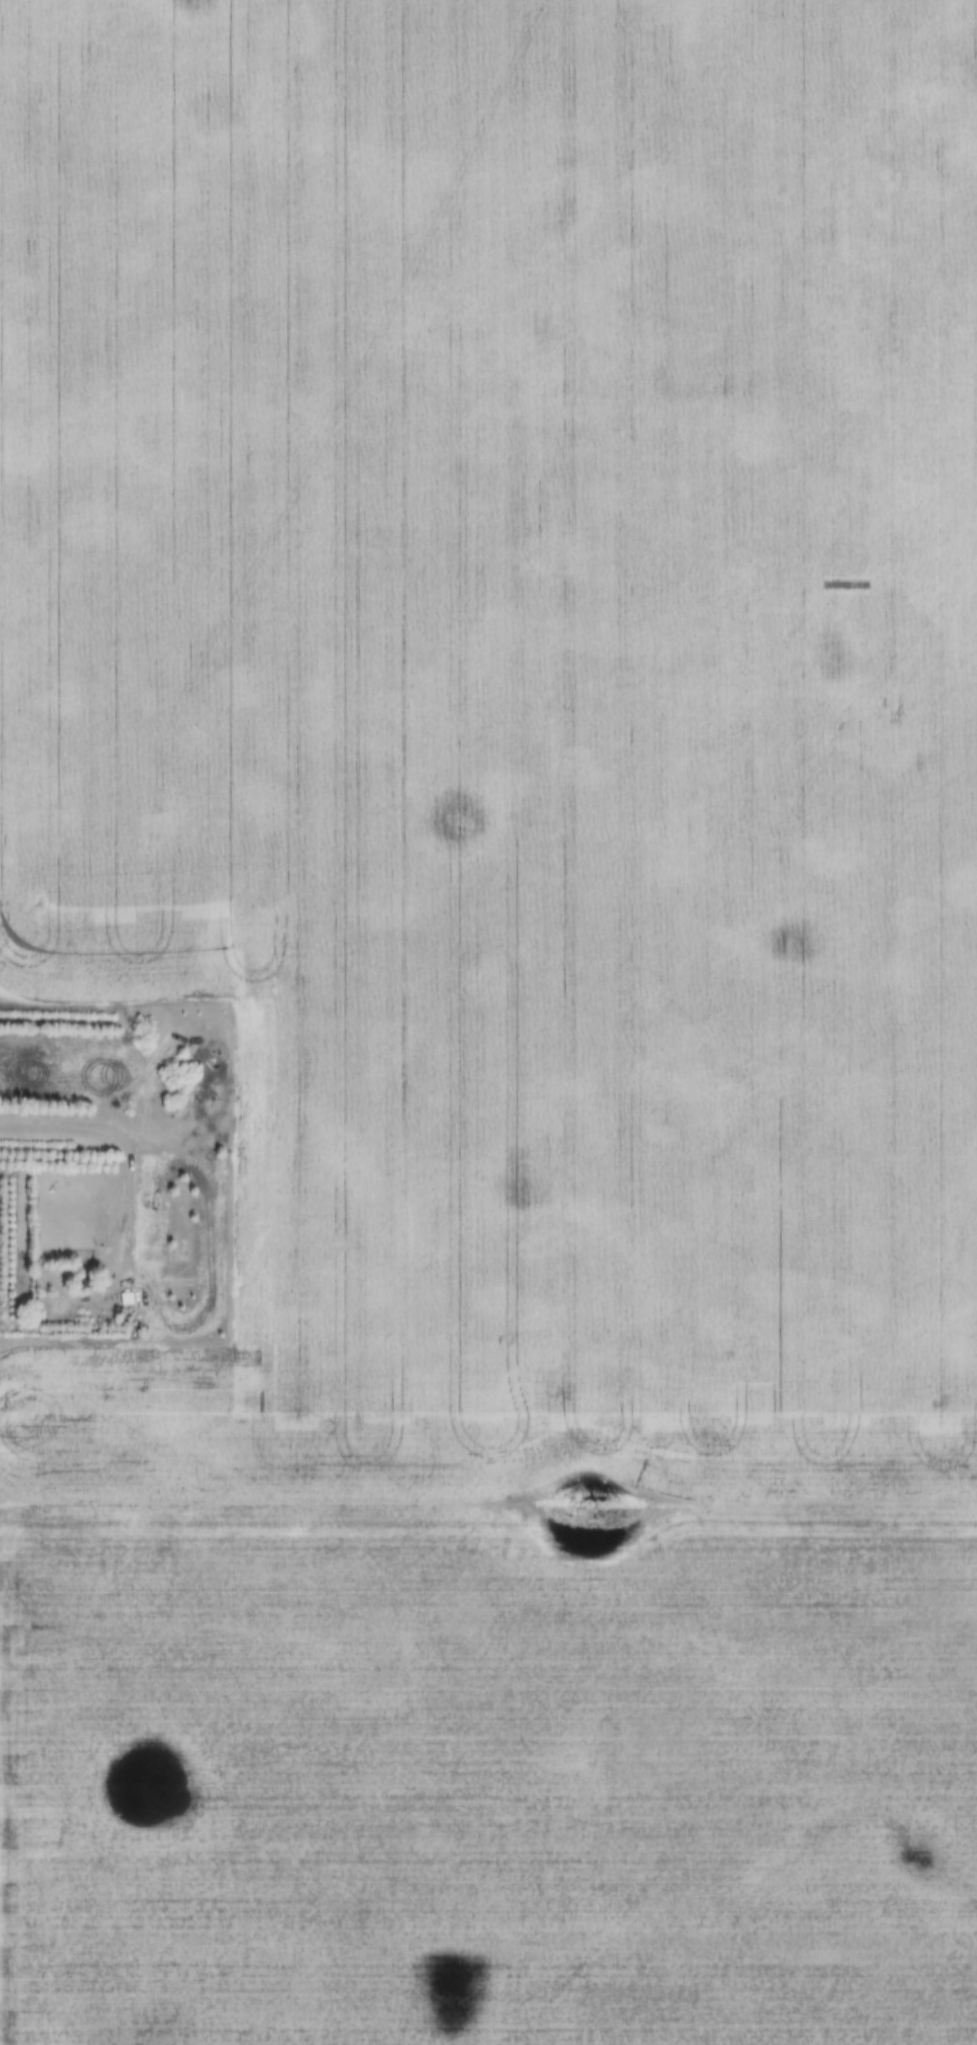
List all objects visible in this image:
road: (83, 1126)
building: (183, 1244)
building: (71, 1255)

